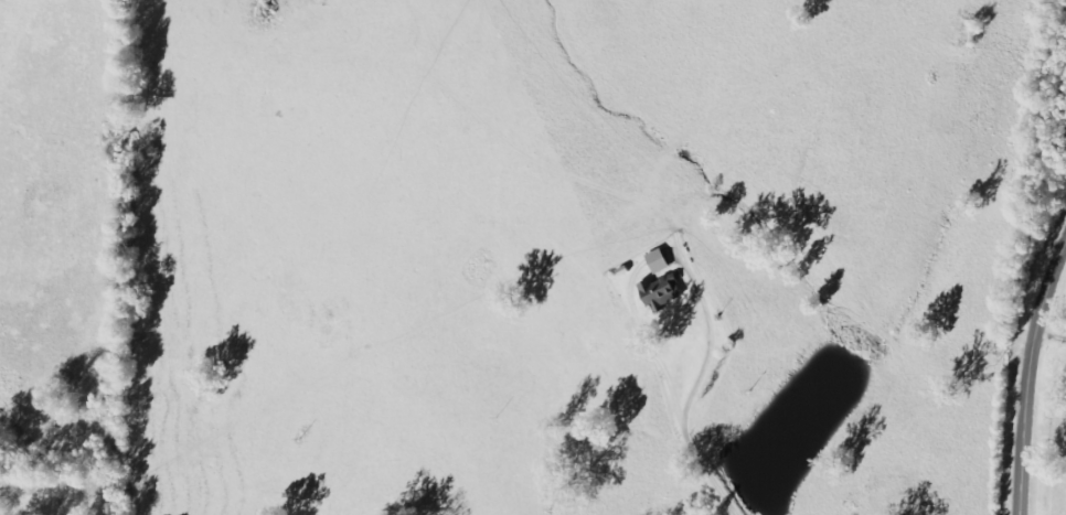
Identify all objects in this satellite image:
building: (662, 262)
building: (663, 293)
road: (1027, 377)

